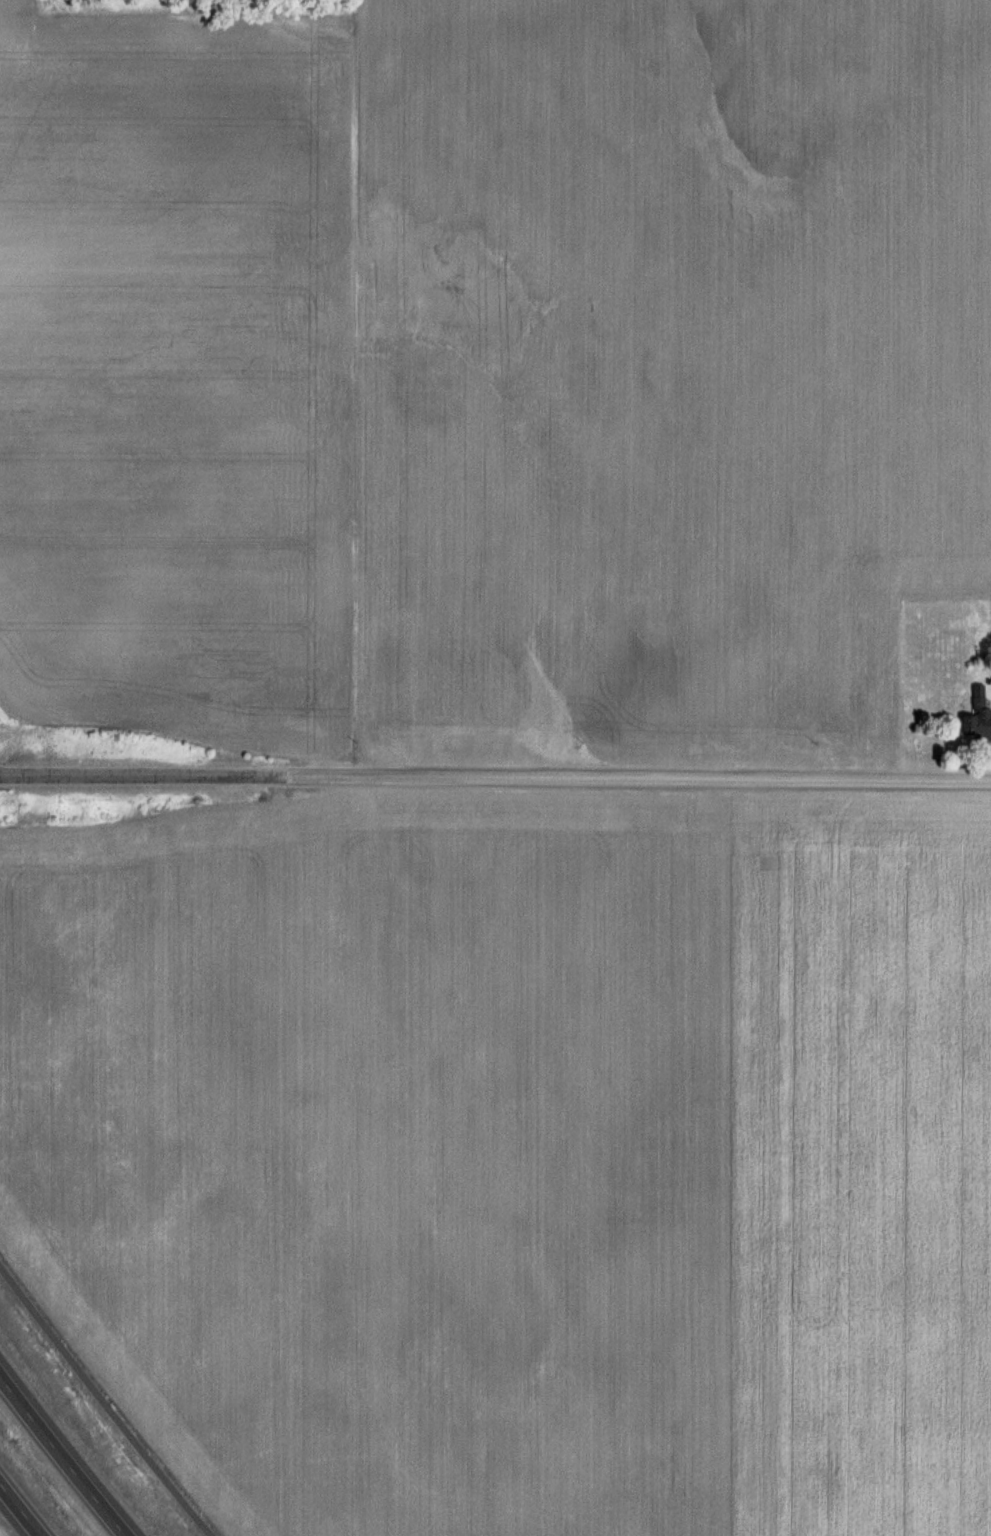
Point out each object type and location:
building: (976, 715)
road: (495, 778)
road: (103, 1402)
road: (63, 1454)
road: (20, 1510)

